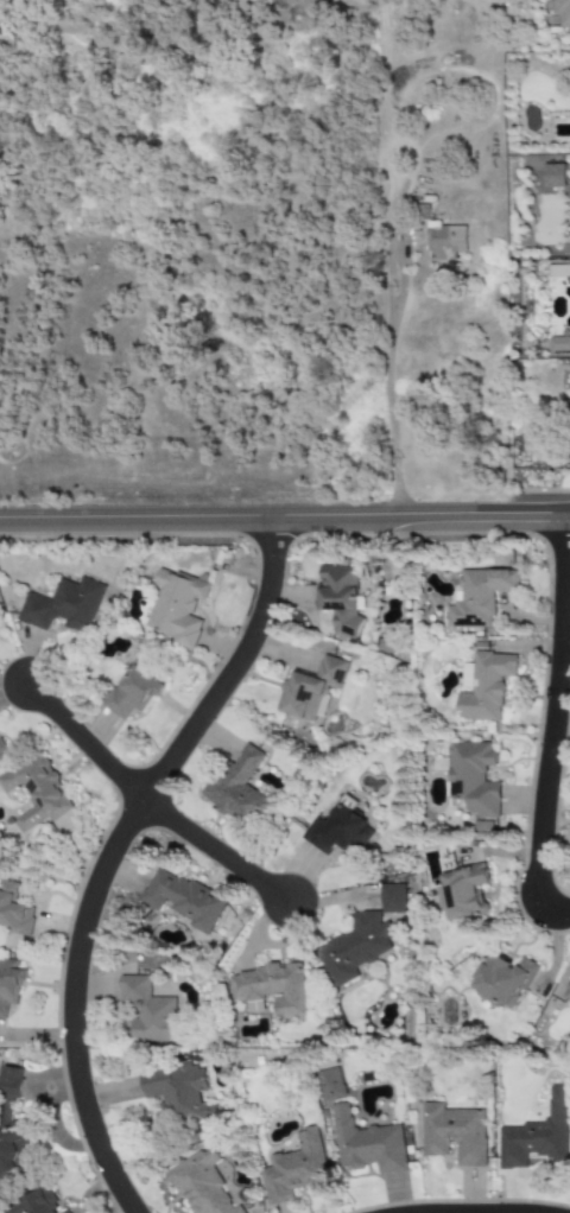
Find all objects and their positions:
building: (562, 12)
building: (553, 176)
building: (444, 241)
building: (559, 271)
building: (559, 344)
road: (387, 351)
road: (285, 516)
building: (477, 596)
building: (338, 597)
building: (62, 605)
building: (175, 606)
building: (483, 686)
building: (310, 688)
building: (132, 691)
road: (547, 723)
road: (78, 739)
building: (2, 748)
building: (473, 777)
building: (239, 786)
building: (36, 792)
building: (337, 832)
road: (113, 853)
road: (216, 853)
building: (461, 891)
building: (392, 898)
building: (183, 900)
building: (13, 910)
building: (353, 948)
building: (501, 979)
building: (9, 984)
building: (271, 990)
building: (566, 993)
building: (148, 1011)
building: (329, 1084)
building: (176, 1093)
building: (11, 1128)
building: (452, 1133)
building: (536, 1135)
building: (366, 1143)
building: (294, 1168)
building: (199, 1187)
building: (32, 1204)
building: (64, 1212)

